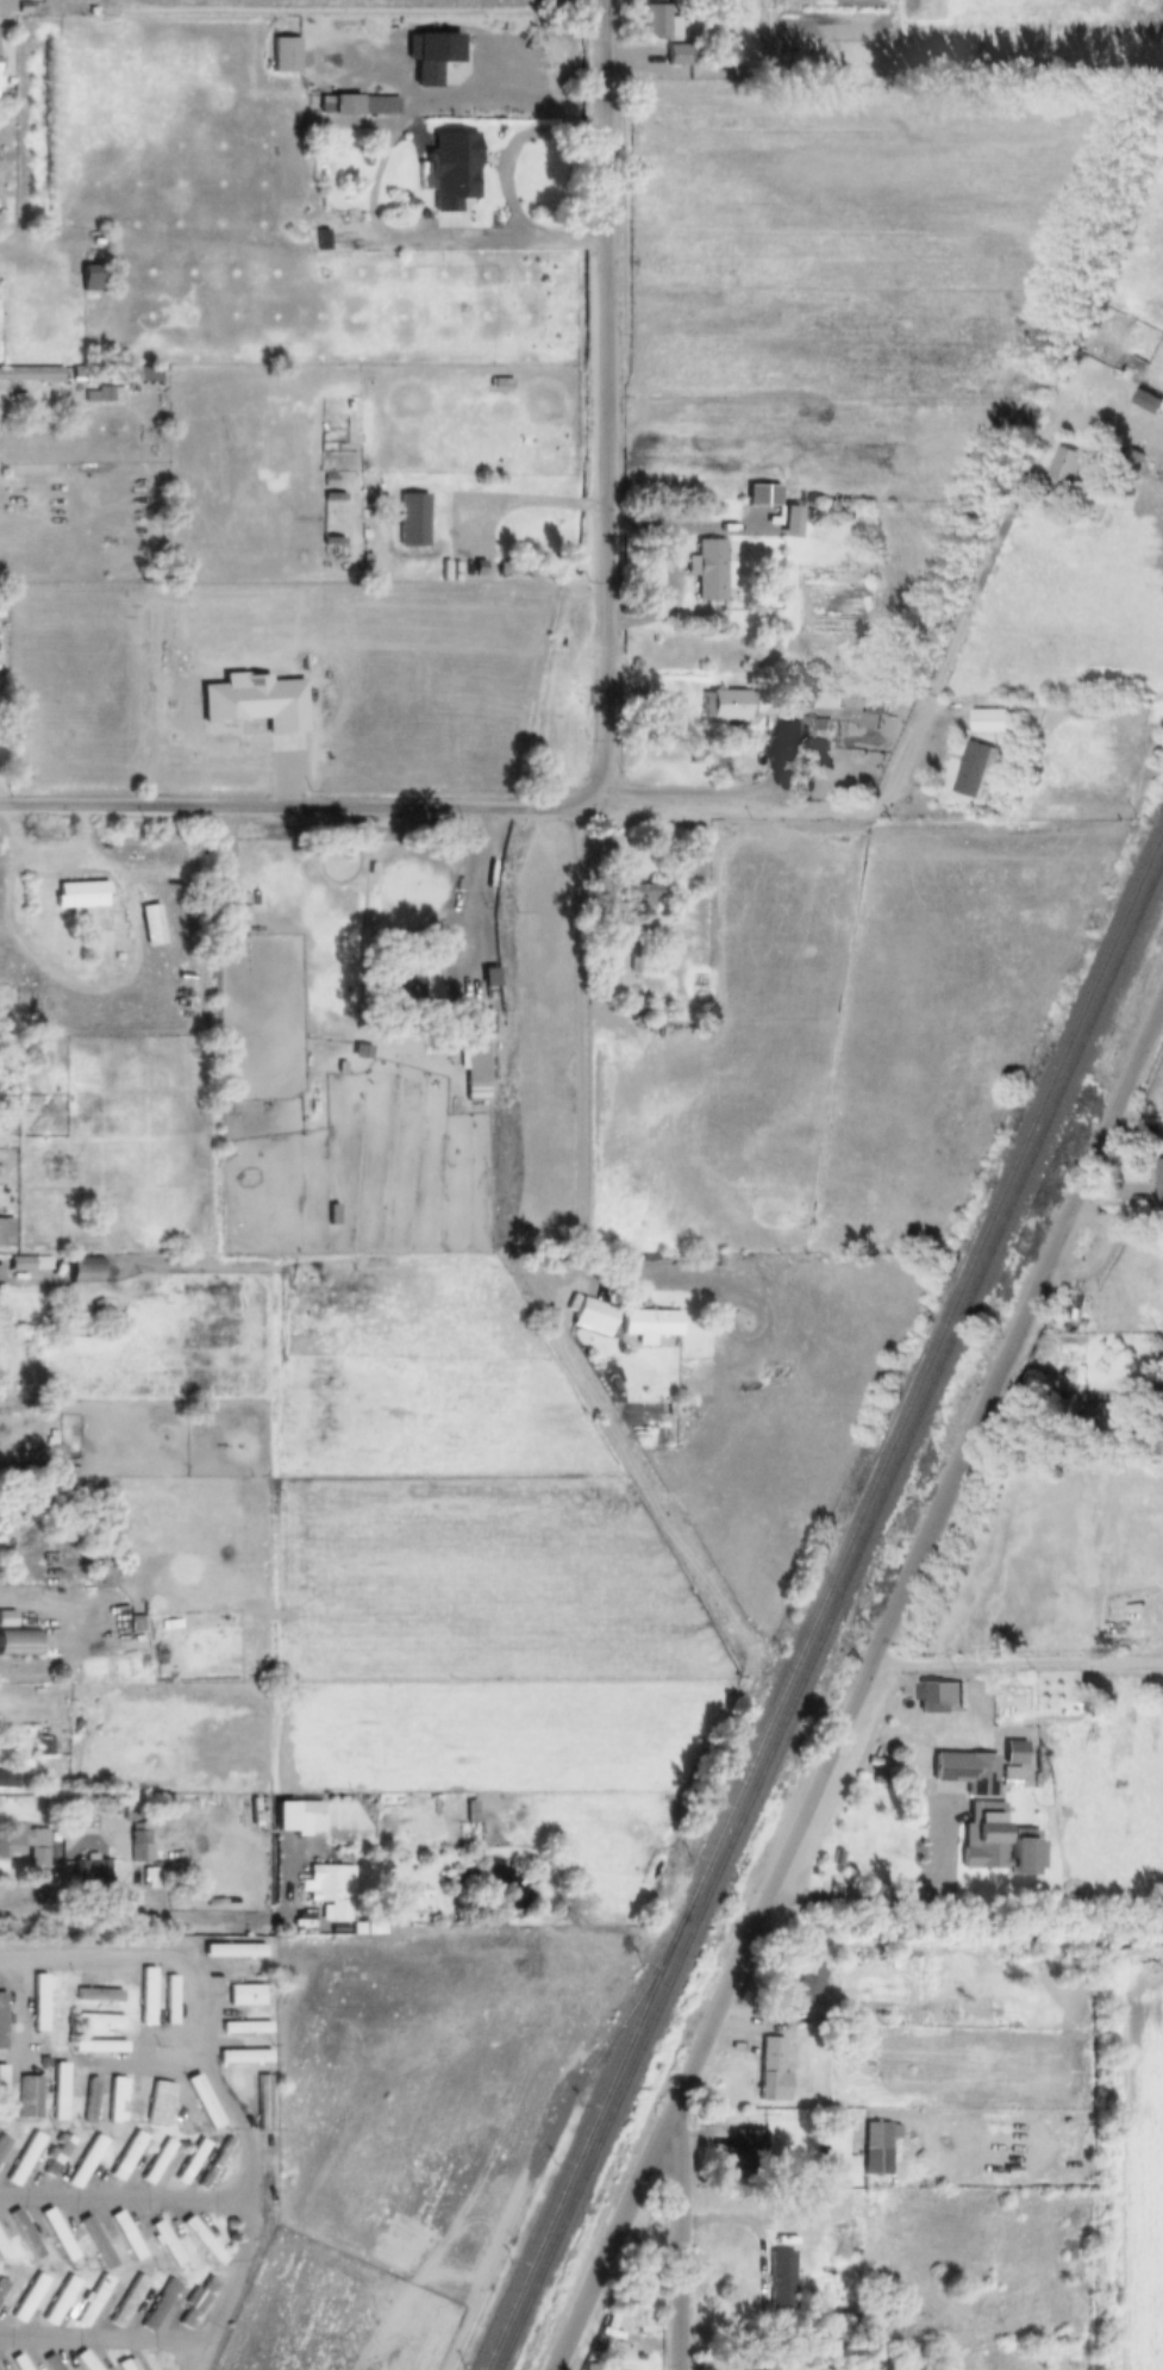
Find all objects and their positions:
building: (659, 24)
building: (426, 73)
building: (352, 106)
building: (452, 171)
road: (379, 186)
building: (93, 277)
building: (104, 395)
building: (1151, 400)
road: (604, 405)
building: (1133, 459)
building: (1071, 463)
building: (763, 494)
road: (524, 506)
building: (413, 520)
building: (524, 568)
building: (711, 569)
road: (679, 594)
building: (729, 705)
building: (870, 713)
building: (998, 719)
building: (809, 726)
building: (980, 767)
road: (686, 811)
road: (493, 894)
building: (81, 896)
building: (644, 897)
building: (400, 985)
road: (118, 988)
building: (648, 1014)
building: (479, 1022)
building: (475, 1060)
building: (1159, 1172)
road: (580, 1196)
road: (1109, 1228)
building: (6, 1231)
building: (86, 1270)
building: (595, 1314)
building: (651, 1323)
building: (1106, 1415)
railway: (823, 1599)
road: (49, 1608)
railway: (830, 1615)
building: (19, 1644)
road: (1015, 1664)
road: (863, 1680)
building: (932, 1698)
building: (1014, 1754)
building: (967, 1772)
building: (8, 1779)
building: (984, 1836)
building: (20, 1840)
building: (1024, 1858)
building: (92, 1872)
building: (331, 1889)
road: (892, 1898)
road: (18, 1906)
road: (934, 1944)
building: (233, 1952)
road: (124, 1958)
building: (807, 1985)
building: (99, 1996)
building: (246, 1996)
building: (148, 1997)
building: (171, 2001)
building: (39, 2004)
building: (100, 2020)
building: (2, 2022)
building: (246, 2028)
building: (99, 2047)
road: (205, 2054)
building: (244, 2057)
building: (773, 2069)
building: (61, 2093)
building: (2, 2094)
building: (30, 2097)
building: (90, 2101)
building: (115, 2101)
building: (160, 2103)
building: (264, 2103)
road: (170, 2110)
building: (187, 2114)
building: (2, 2145)
building: (746, 2148)
building: (876, 2148)
railway: (548, 2152)
building: (56, 2156)
building: (127, 2156)
building: (25, 2159)
building: (192, 2160)
building: (86, 2162)
building: (158, 2162)
building: (217, 2165)
road: (124, 2200)
building: (58, 2234)
building: (126, 2235)
road: (677, 2237)
building: (31, 2239)
building: (204, 2241)
building: (96, 2243)
building: (167, 2244)
building: (2, 2249)
building: (782, 2281)
building: (2, 2287)
building: (30, 2299)
building: (61, 2301)
building: (129, 2301)
building: (93, 2302)
building: (198, 2304)
building: (160, 2306)
road: (188, 2343)
road: (195, 2357)
building: (86, 2360)
building: (18, 2363)
building: (56, 2366)

